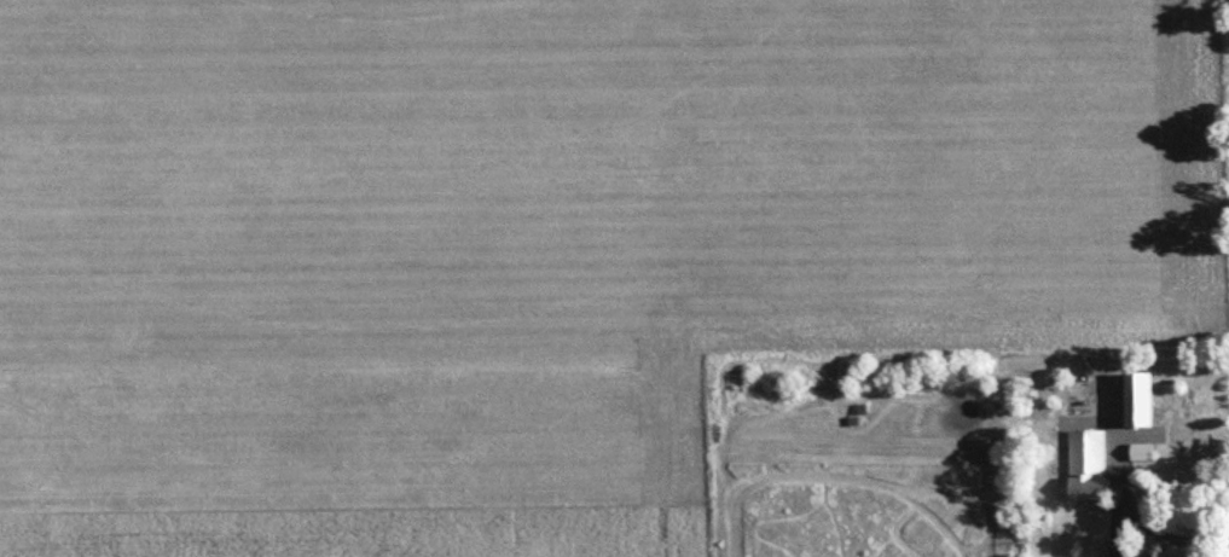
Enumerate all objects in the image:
building: (1135, 402)
building: (1083, 470)

